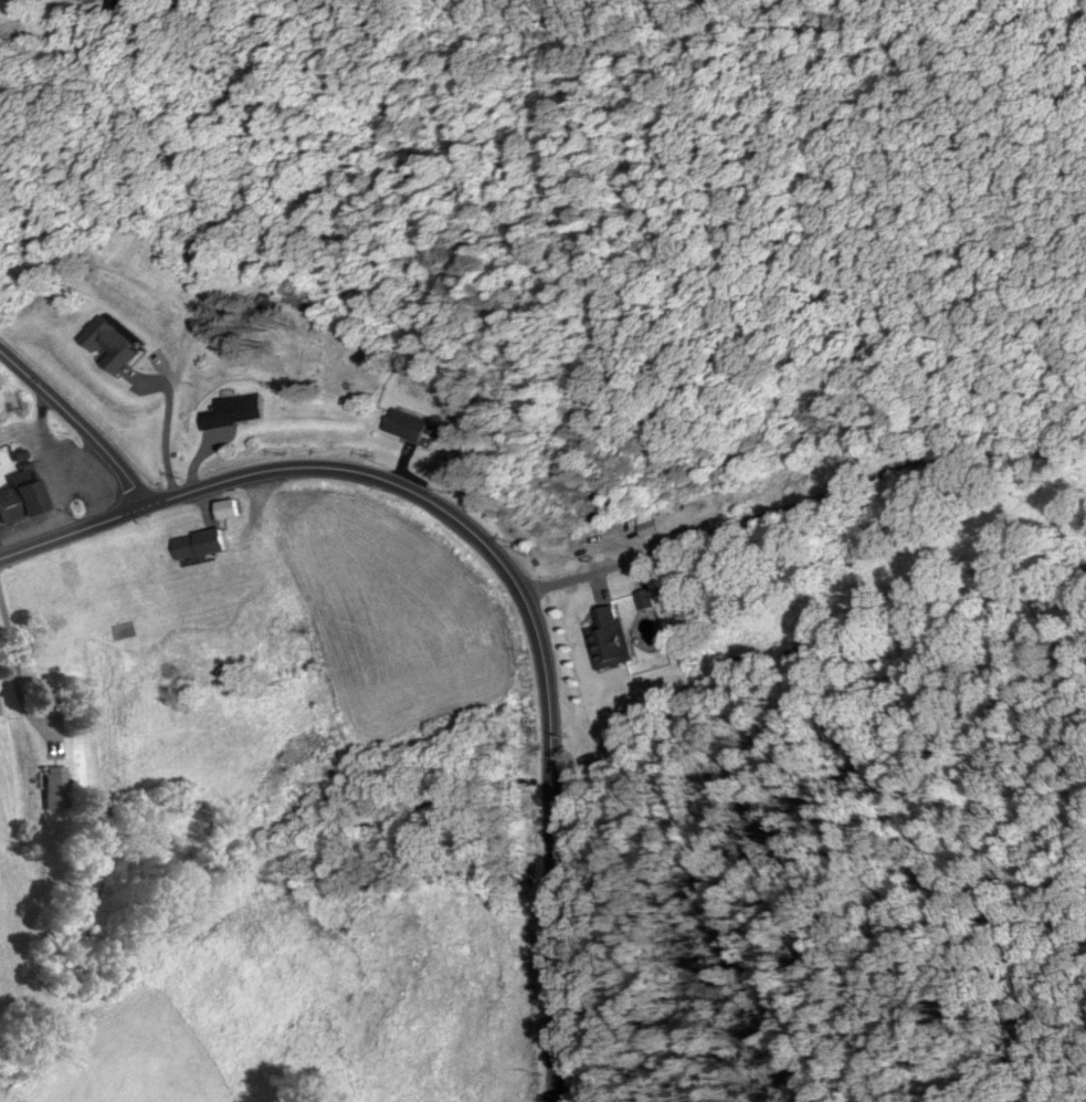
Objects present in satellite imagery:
building: (109, 344)
building: (232, 410)
road: (77, 422)
building: (405, 426)
road: (800, 494)
building: (21, 496)
building: (200, 544)
road: (503, 564)
building: (645, 598)
building: (611, 638)
building: (54, 788)

